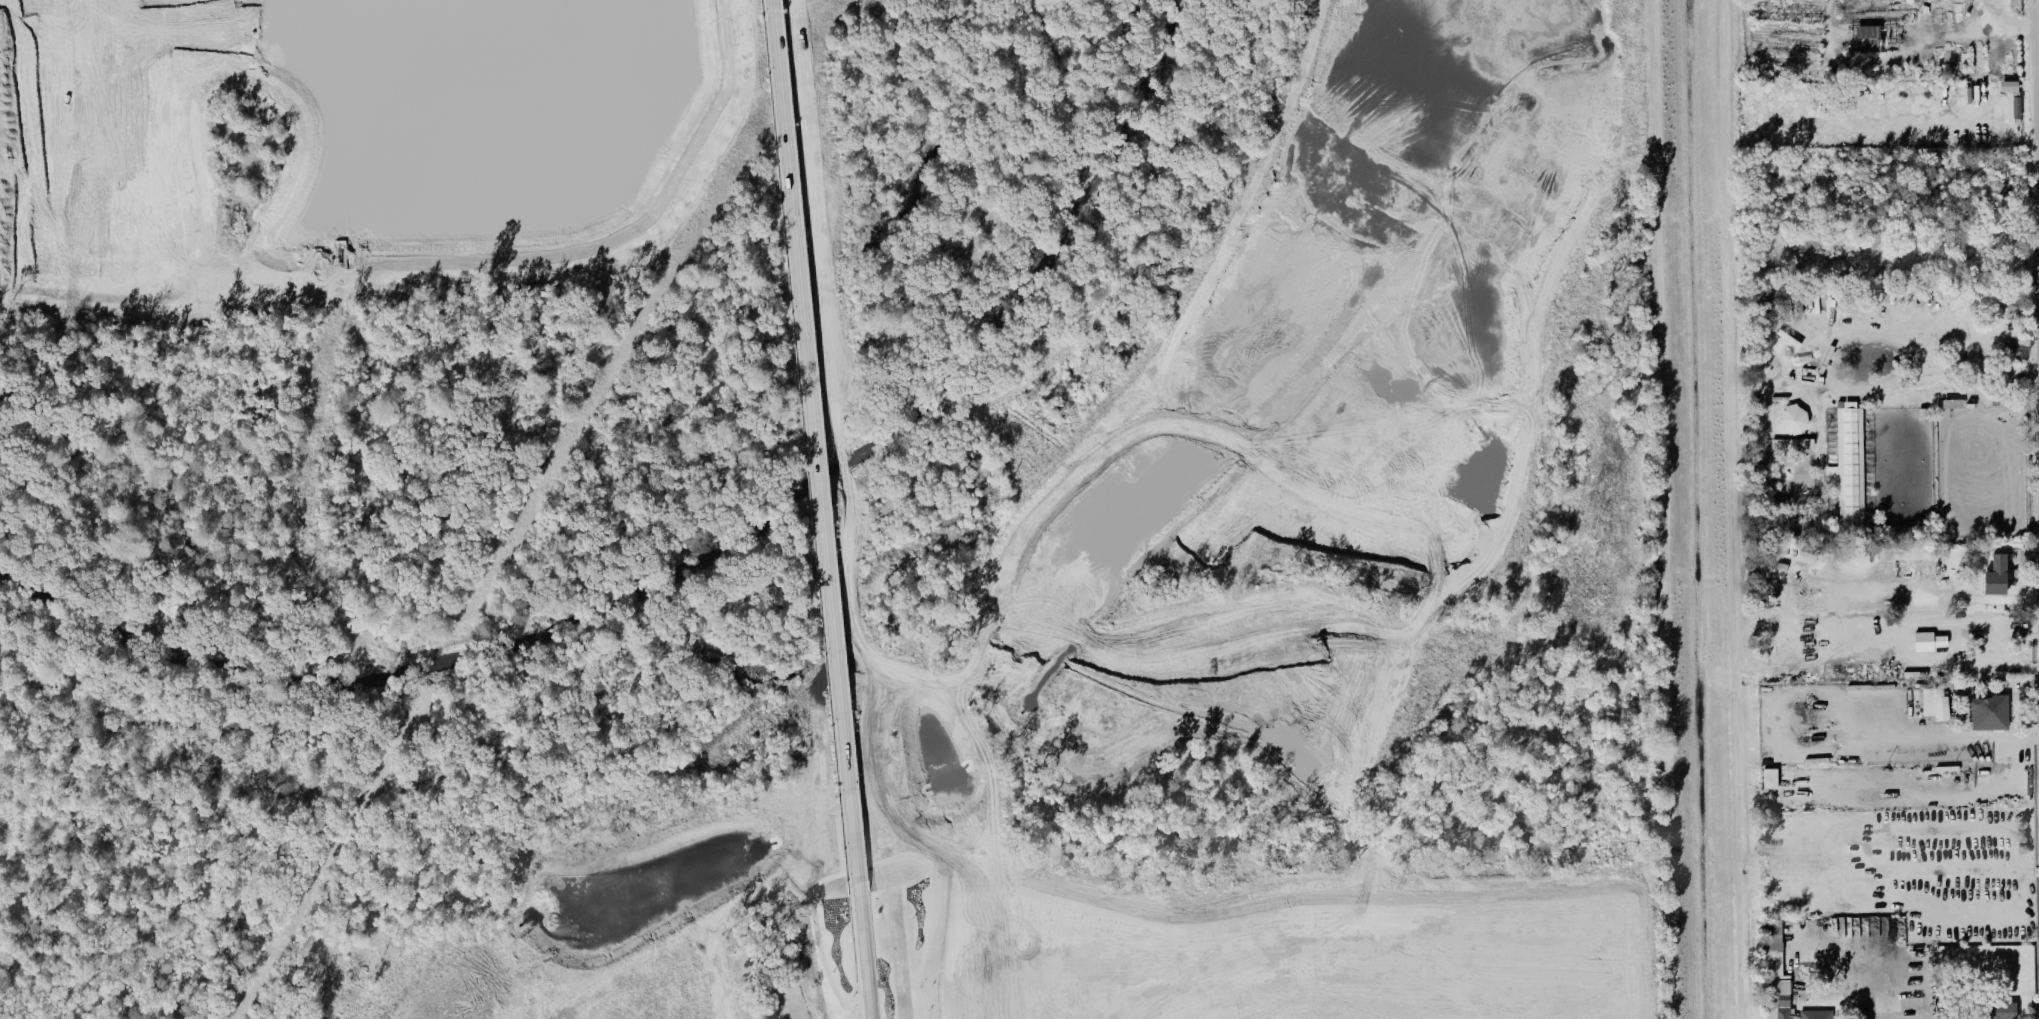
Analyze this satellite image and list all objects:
building: (1868, 40)
road: (1904, 61)
building: (2010, 87)
building: (2017, 108)
road: (2035, 163)
road: (1824, 368)
road: (1985, 371)
building: (1952, 404)
building: (1924, 416)
building: (1794, 422)
road: (817, 448)
building: (1850, 465)
river: (708, 554)
building: (1998, 577)
building: (1930, 643)
building: (1936, 705)
building: (1990, 715)
road: (1971, 741)
building: (1770, 780)
road: (866, 957)
building: (1776, 976)
building: (2003, 1012)
building: (1817, 1015)

